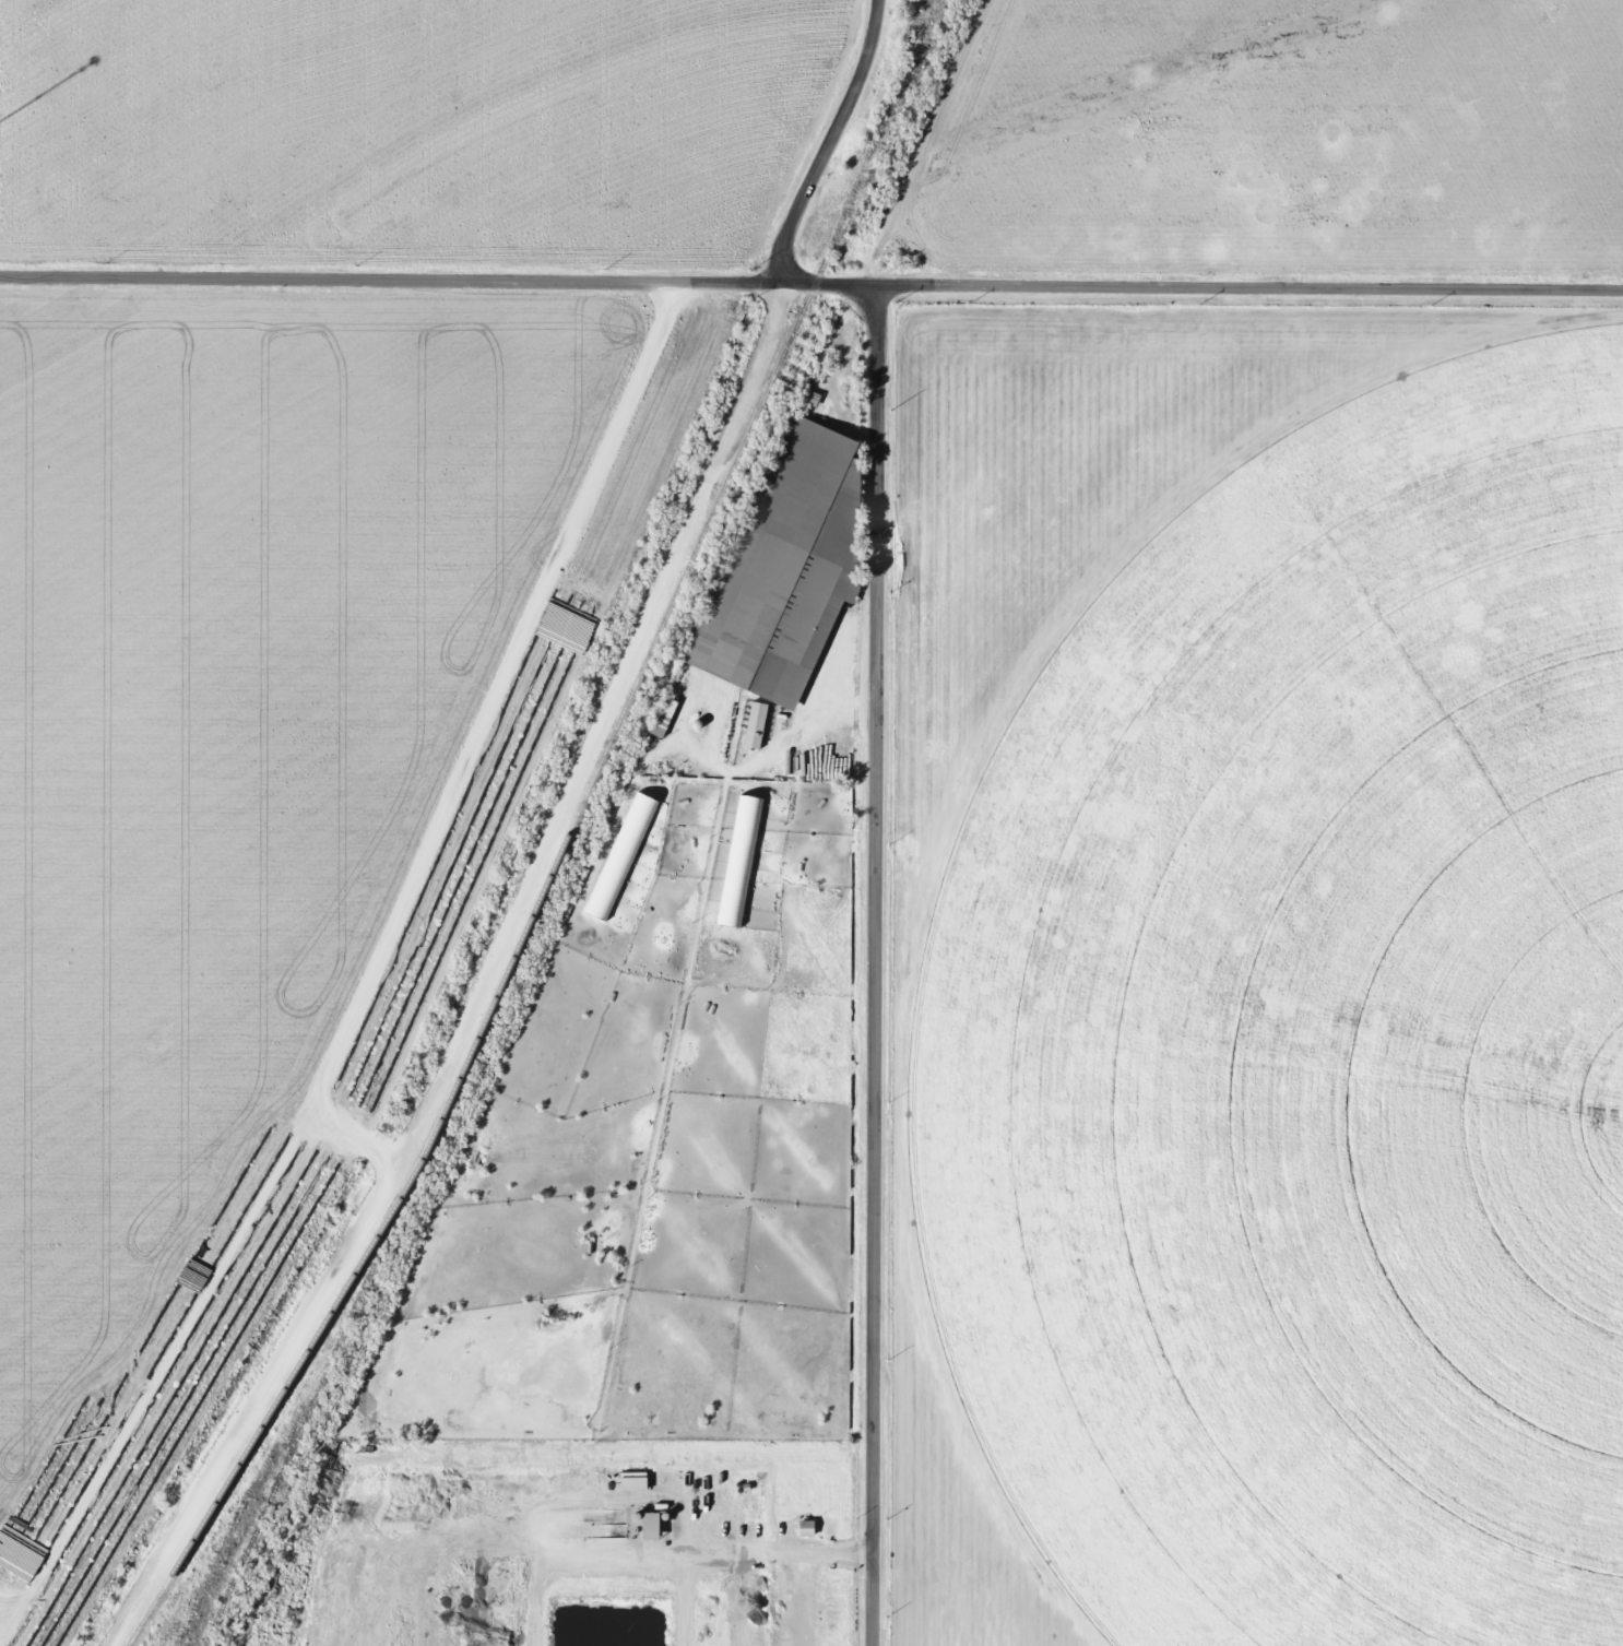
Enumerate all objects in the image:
road: (825, 142)
road: (810, 285)
building: (785, 565)
railway: (677, 581)
building: (662, 717)
building: (753, 724)
building: (619, 856)
building: (738, 861)
road: (870, 967)
railway: (270, 1405)
railway: (307, 1405)
railway: (324, 1413)
building: (631, 1481)
building: (651, 1525)
building: (805, 1528)

